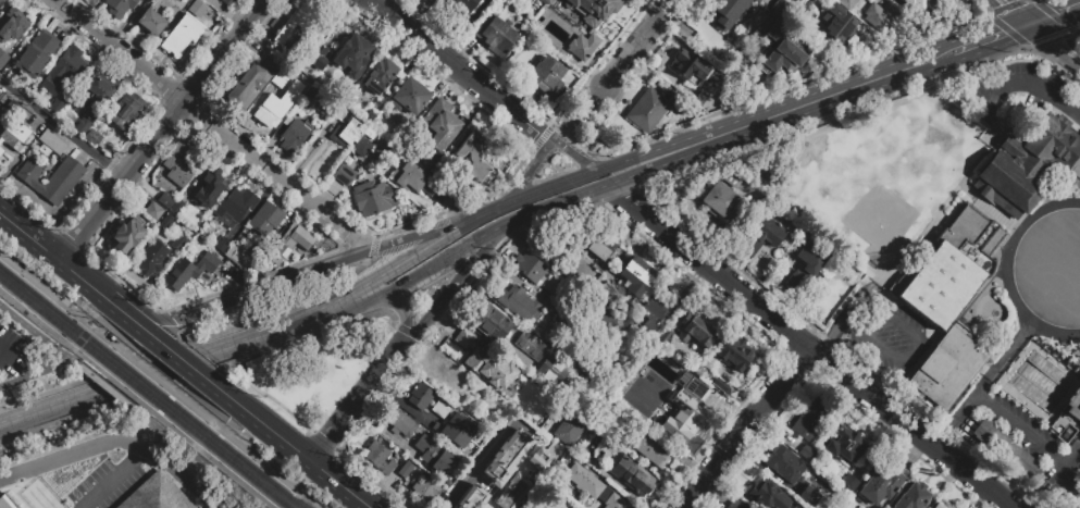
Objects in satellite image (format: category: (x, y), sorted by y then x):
building: (1, 1)
building: (756, 1)
road: (1033, 1)
building: (229, 2)
building: (847, 2)
road: (1018, 2)
building: (917, 3)
building: (460, 5)
building: (120, 7)
road: (1079, 7)
building: (197, 8)
building: (597, 8)
road: (1000, 10)
road: (1026, 10)
road: (227, 12)
building: (562, 12)
building: (727, 12)
road: (1017, 12)
building: (779, 13)
road: (1055, 14)
road: (1056, 15)
building: (301, 16)
building: (877, 16)
road: (993, 21)
building: (151, 22)
building: (12, 24)
traffic signals: (1033, 24)
building: (837, 25)
building: (188, 27)
road: (1066, 29)
road: (1009, 30)
road: (1006, 33)
building: (495, 36)
building: (282, 37)
road: (1053, 40)
road: (637, 41)
road: (1055, 41)
building: (174, 44)
building: (581, 46)
road: (1051, 46)
road: (967, 47)
building: (780, 49)
road: (437, 51)
building: (37, 53)
building: (352, 53)
building: (315, 54)
building: (3, 59)
road: (1079, 59)
building: (688, 67)
building: (63, 69)
building: (378, 76)
building: (547, 78)
road: (1030, 83)
building: (247, 86)
building: (720, 87)
parking lot: (1025, 91)
building: (95, 96)
building: (409, 97)
building: (318, 98)
building: (698, 99)
road: (815, 101)
building: (55, 106)
building: (650, 109)
building: (23, 111)
building: (124, 111)
building: (269, 111)
road: (593, 114)
road: (523, 119)
road: (214, 124)
building: (82, 125)
building: (442, 125)
road: (62, 127)
road: (163, 127)
building: (294, 135)
building: (14, 136)
building: (92, 137)
building: (357, 137)
road: (543, 137)
road: (549, 139)
building: (52, 143)
building: (1042, 147)
building: (1, 151)
building: (472, 154)
road: (582, 160)
building: (179, 163)
building: (1075, 168)
building: (73, 169)
park: (877, 172)
building: (30, 173)
building: (343, 174)
road: (529, 174)
building: (408, 175)
building: (733, 177)
building: (63, 181)
building: (1007, 186)
road: (595, 189)
building: (208, 190)
building: (52, 193)
building: (372, 197)
building: (165, 200)
building: (719, 201)
building: (234, 205)
road: (28, 206)
road: (463, 206)
building: (175, 207)
building: (153, 211)
road: (484, 214)
building: (265, 219)
building: (165, 220)
road: (437, 226)
road: (32, 231)
building: (760, 235)
building: (125, 236)
road: (70, 238)
building: (294, 239)
building: (593, 240)
building: (177, 243)
building: (222, 245)
road: (373, 247)
building: (559, 248)
building: (236, 256)
building: (149, 259)
road: (440, 262)
building: (806, 265)
road: (324, 267)
building: (529, 268)
road: (1007, 270)
building: (188, 271)
road: (84, 273)
building: (636, 276)
road: (122, 280)
road: (454, 285)
building: (604, 292)
road: (224, 302)
road: (88, 303)
building: (518, 303)
road: (138, 305)
building: (954, 305)
road: (288, 307)
road: (340, 311)
road: (405, 312)
building: (650, 312)
building: (488, 320)
building: (598, 320)
road: (167, 322)
road: (840, 322)
road: (320, 331)
building: (696, 331)
road: (116, 332)
road: (255, 337)
building: (663, 337)
road: (179, 339)
road: (194, 342)
road: (809, 347)
road: (914, 351)
road: (196, 352)
parking lot: (18, 354)
building: (735, 354)
road: (186, 355)
road: (148, 357)
building: (484, 360)
building: (544, 360)
road: (215, 368)
road: (36, 370)
road: (163, 370)
park: (313, 373)
railway: (149, 377)
road: (177, 380)
building: (448, 381)
road: (984, 385)
railway: (150, 387)
road: (44, 393)
railway: (145, 393)
building: (420, 396)
railway: (137, 398)
road: (269, 398)
road: (356, 401)
building: (1073, 404)
road: (132, 405)
road: (51, 409)
building: (439, 409)
building: (686, 409)
road: (219, 413)
building: (812, 419)
road: (58, 421)
building: (399, 422)
road: (140, 426)
parking lot: (1021, 426)
road: (745, 428)
road: (1022, 428)
building: (568, 429)
building: (455, 430)
road: (291, 437)
road: (324, 438)
road: (121, 439)
building: (845, 445)
building: (645, 446)
building: (1005, 448)
building: (808, 451)
building: (433, 455)
building: (378, 458)
building: (513, 459)
road: (475, 463)
building: (785, 463)
building: (405, 469)
road: (1067, 469)
building: (631, 476)
road: (114, 478)
road: (374, 479)
road: (346, 482)
building: (849, 483)
building: (883, 483)
building: (593, 487)
building: (424, 490)
building: (512, 492)
building: (766, 494)
building: (154, 495)
building: (810, 495)
building: (913, 496)
building: (472, 498)
building: (8, 501)
building: (736, 505)
building: (942, 505)
building: (448, 507)

